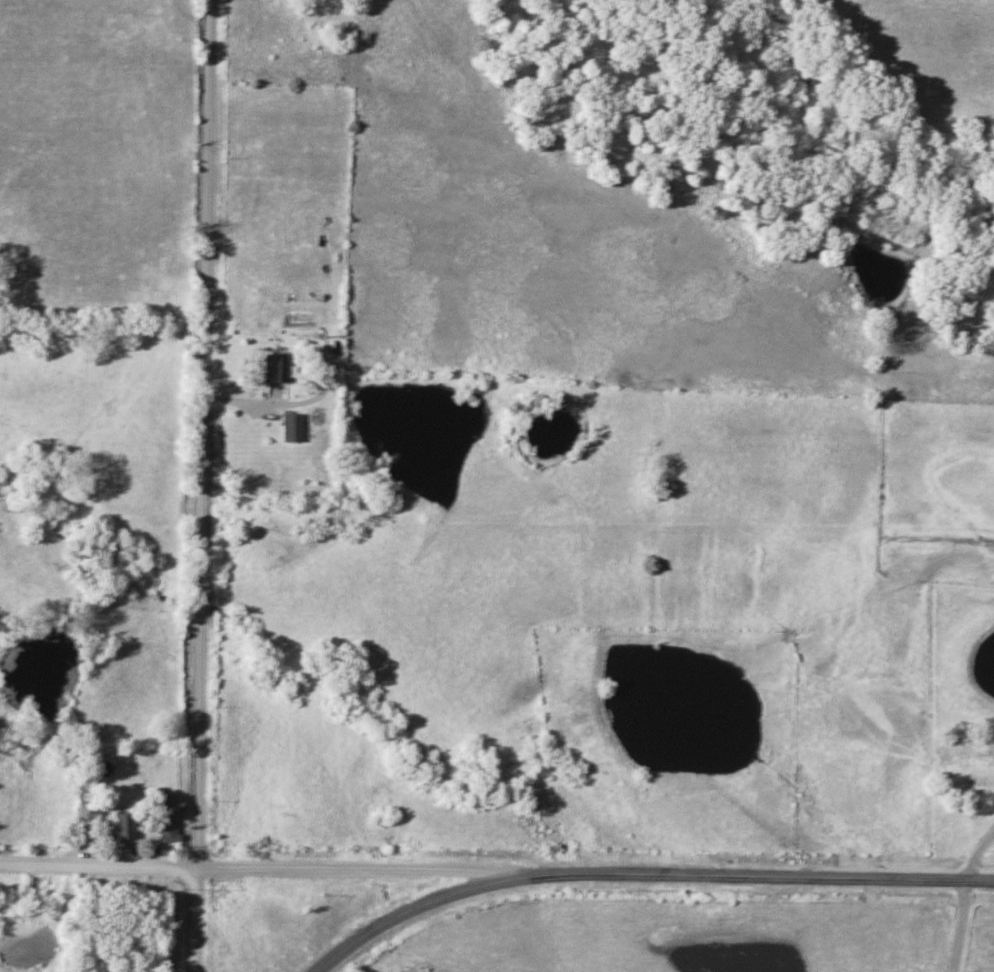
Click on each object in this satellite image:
building: (275, 368)
building: (291, 428)
road: (205, 434)
building: (972, 764)
building: (167, 820)
building: (120, 825)
road: (98, 868)
road: (379, 869)
road: (777, 876)
road: (963, 899)
road: (431, 902)
road: (194, 920)
park: (118, 928)

